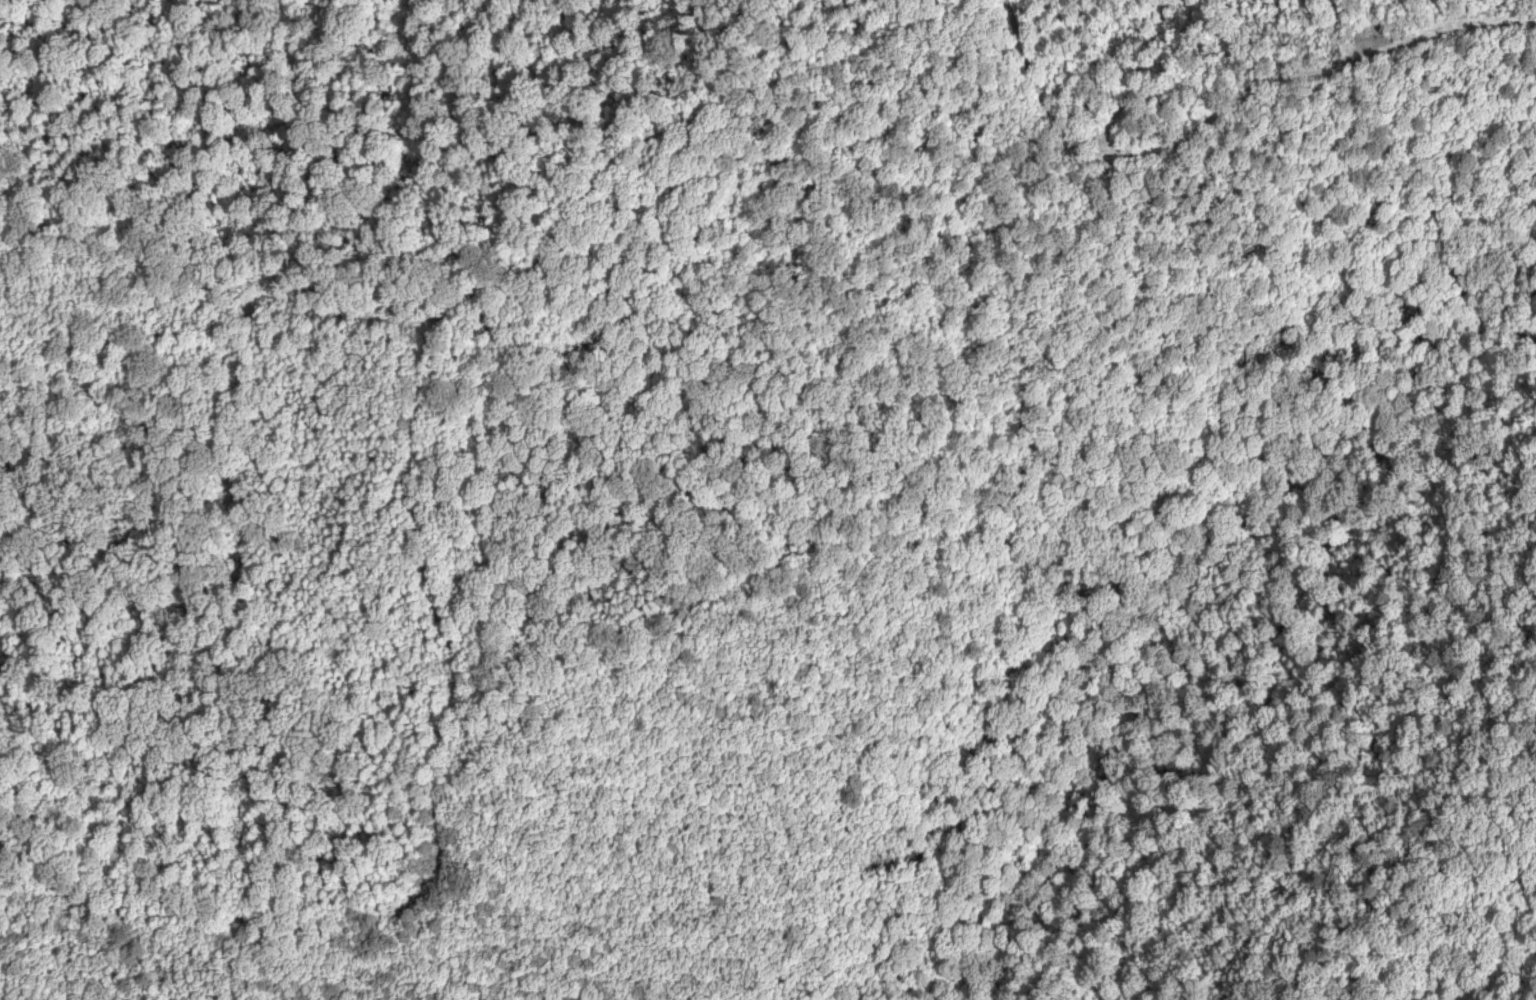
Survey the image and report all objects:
road: (889, 4)
road: (154, 146)

